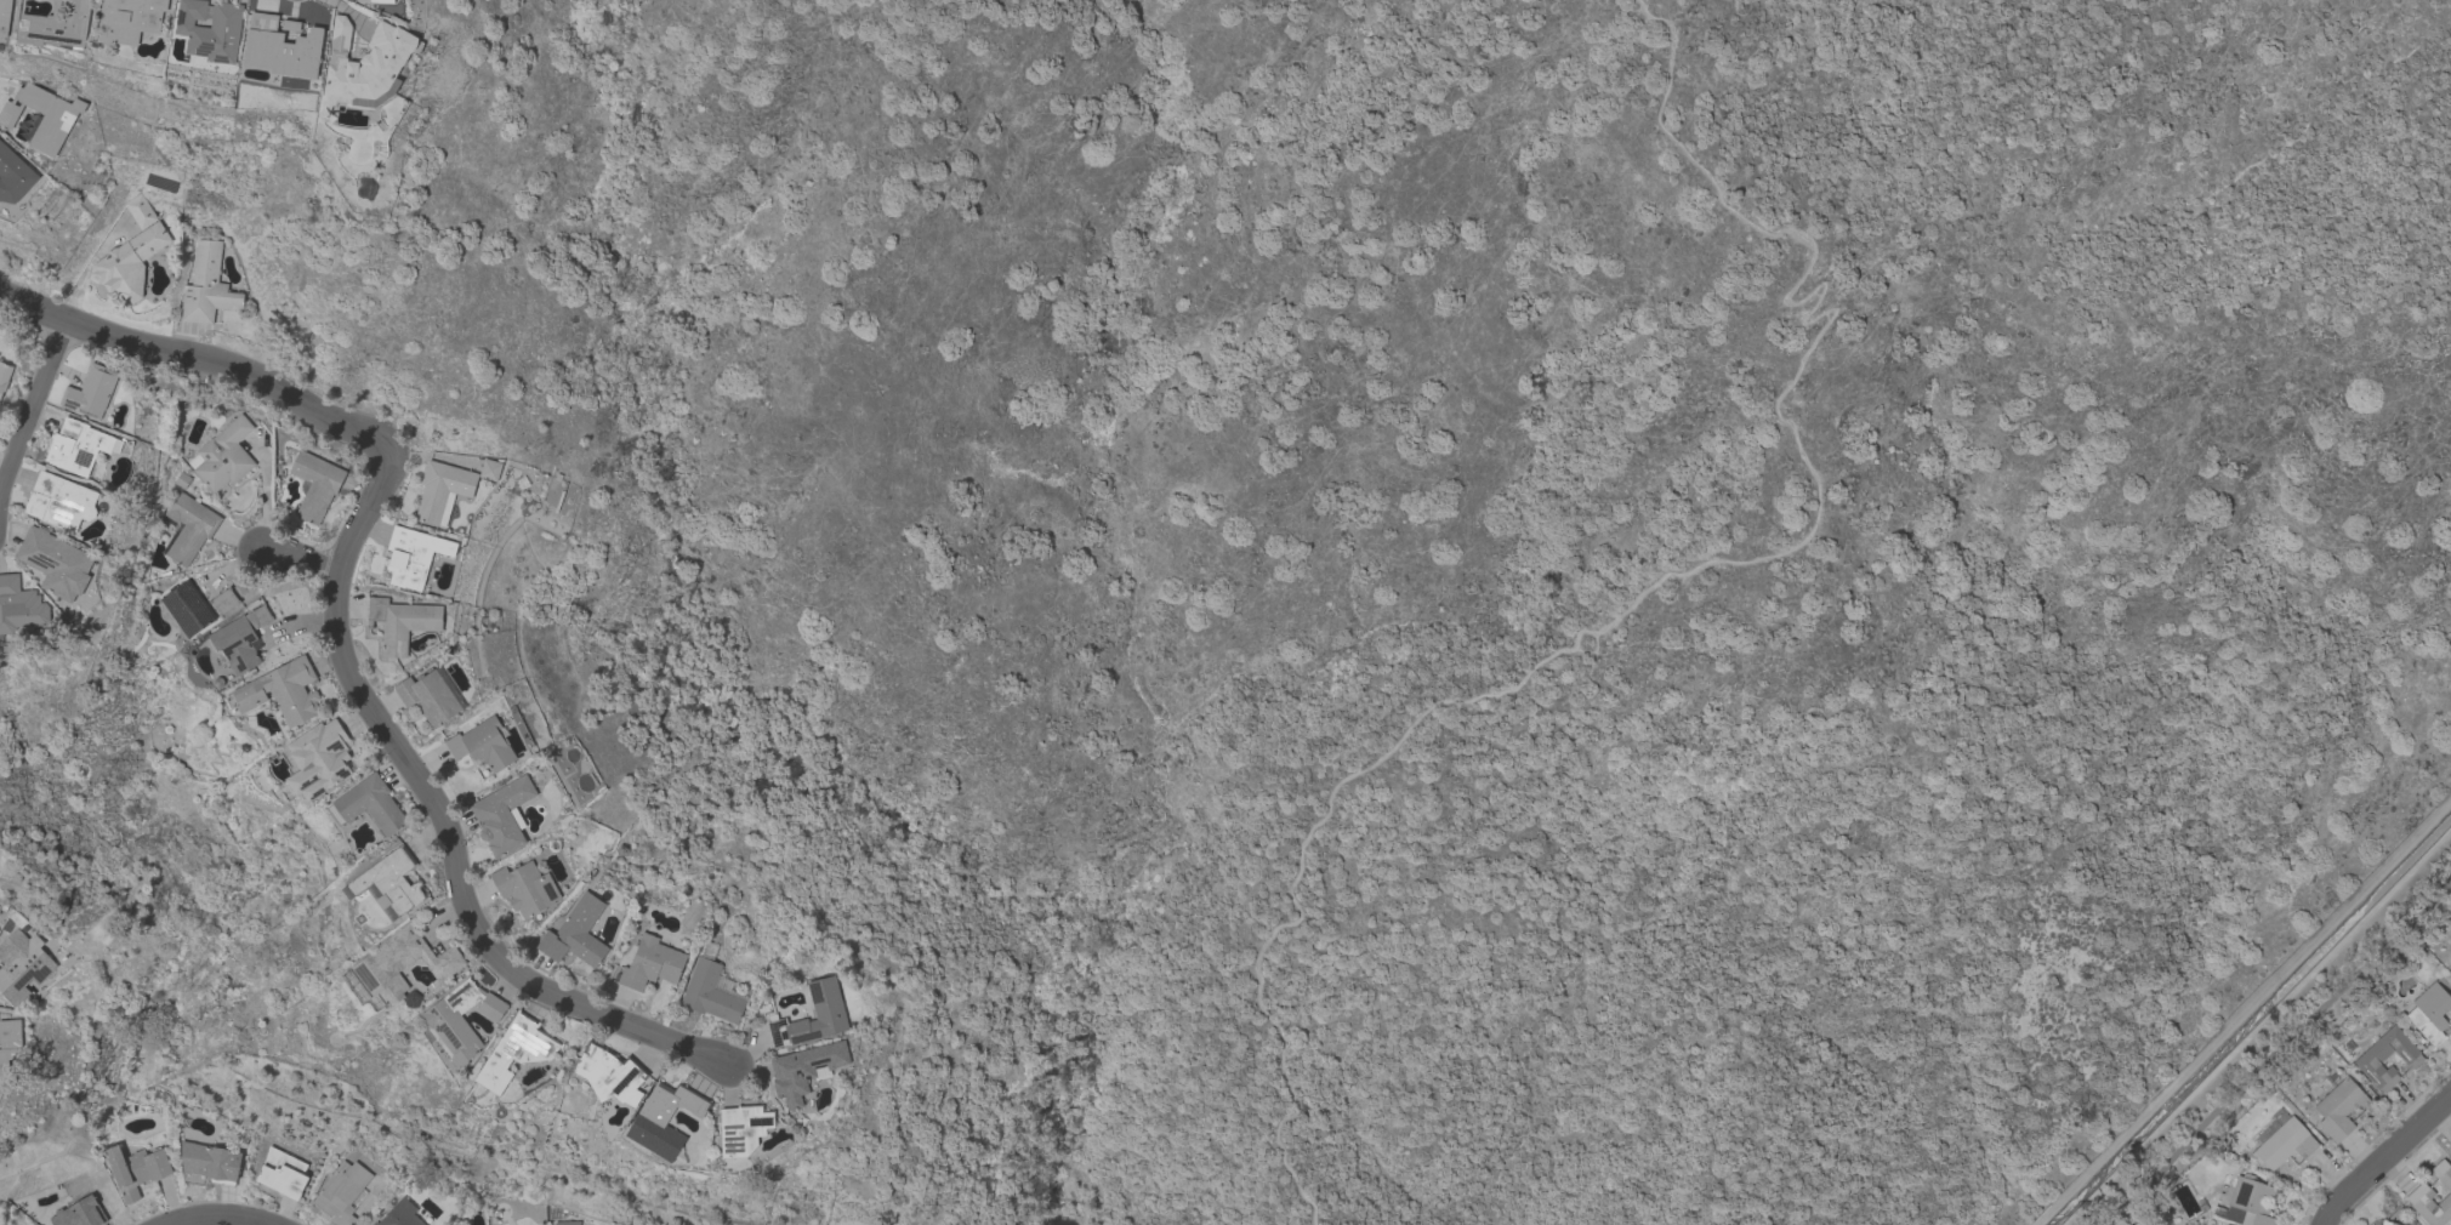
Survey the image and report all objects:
building: (383, 0)
building: (4, 16)
building: (129, 19)
building: (57, 24)
building: (210, 28)
building: (283, 49)
building: (369, 63)
building: (42, 115)
building: (15, 175)
building: (140, 210)
building: (129, 263)
building: (206, 285)
road: (200, 357)
building: (4, 375)
building: (91, 391)
road: (34, 411)
building: (76, 445)
building: (222, 455)
building: (489, 468)
building: (314, 484)
building: (442, 490)
building: (61, 501)
road: (368, 514)
building: (187, 528)
building: (414, 555)
road: (300, 560)
building: (56, 562)
road: (1674, 572)
building: (223, 600)
building: (19, 605)
building: (184, 610)
building: (400, 622)
building: (240, 638)
building: (280, 691)
building: (431, 695)
building: (483, 743)
building: (318, 759)
building: (369, 805)
building: (501, 815)
building: (391, 881)
road: (459, 887)
building: (524, 887)
building: (576, 933)
building: (650, 963)
building: (21, 964)
building: (396, 965)
building: (711, 988)
building: (825, 997)
building: (2429, 1013)
building: (461, 1018)
building: (8, 1042)
road: (2275, 1048)
building: (516, 1050)
building: (2367, 1059)
building: (804, 1069)
building: (610, 1073)
building: (2338, 1105)
building: (665, 1118)
building: (741, 1128)
building: (2281, 1140)
road: (2385, 1157)
building: (210, 1162)
building: (136, 1169)
building: (283, 1173)
building: (2421, 1190)
building: (341, 1192)
building: (2246, 1202)
building: (79, 1213)
building: (399, 1214)
road: (220, 1218)
building: (565, 1221)
building: (2385, 1223)

